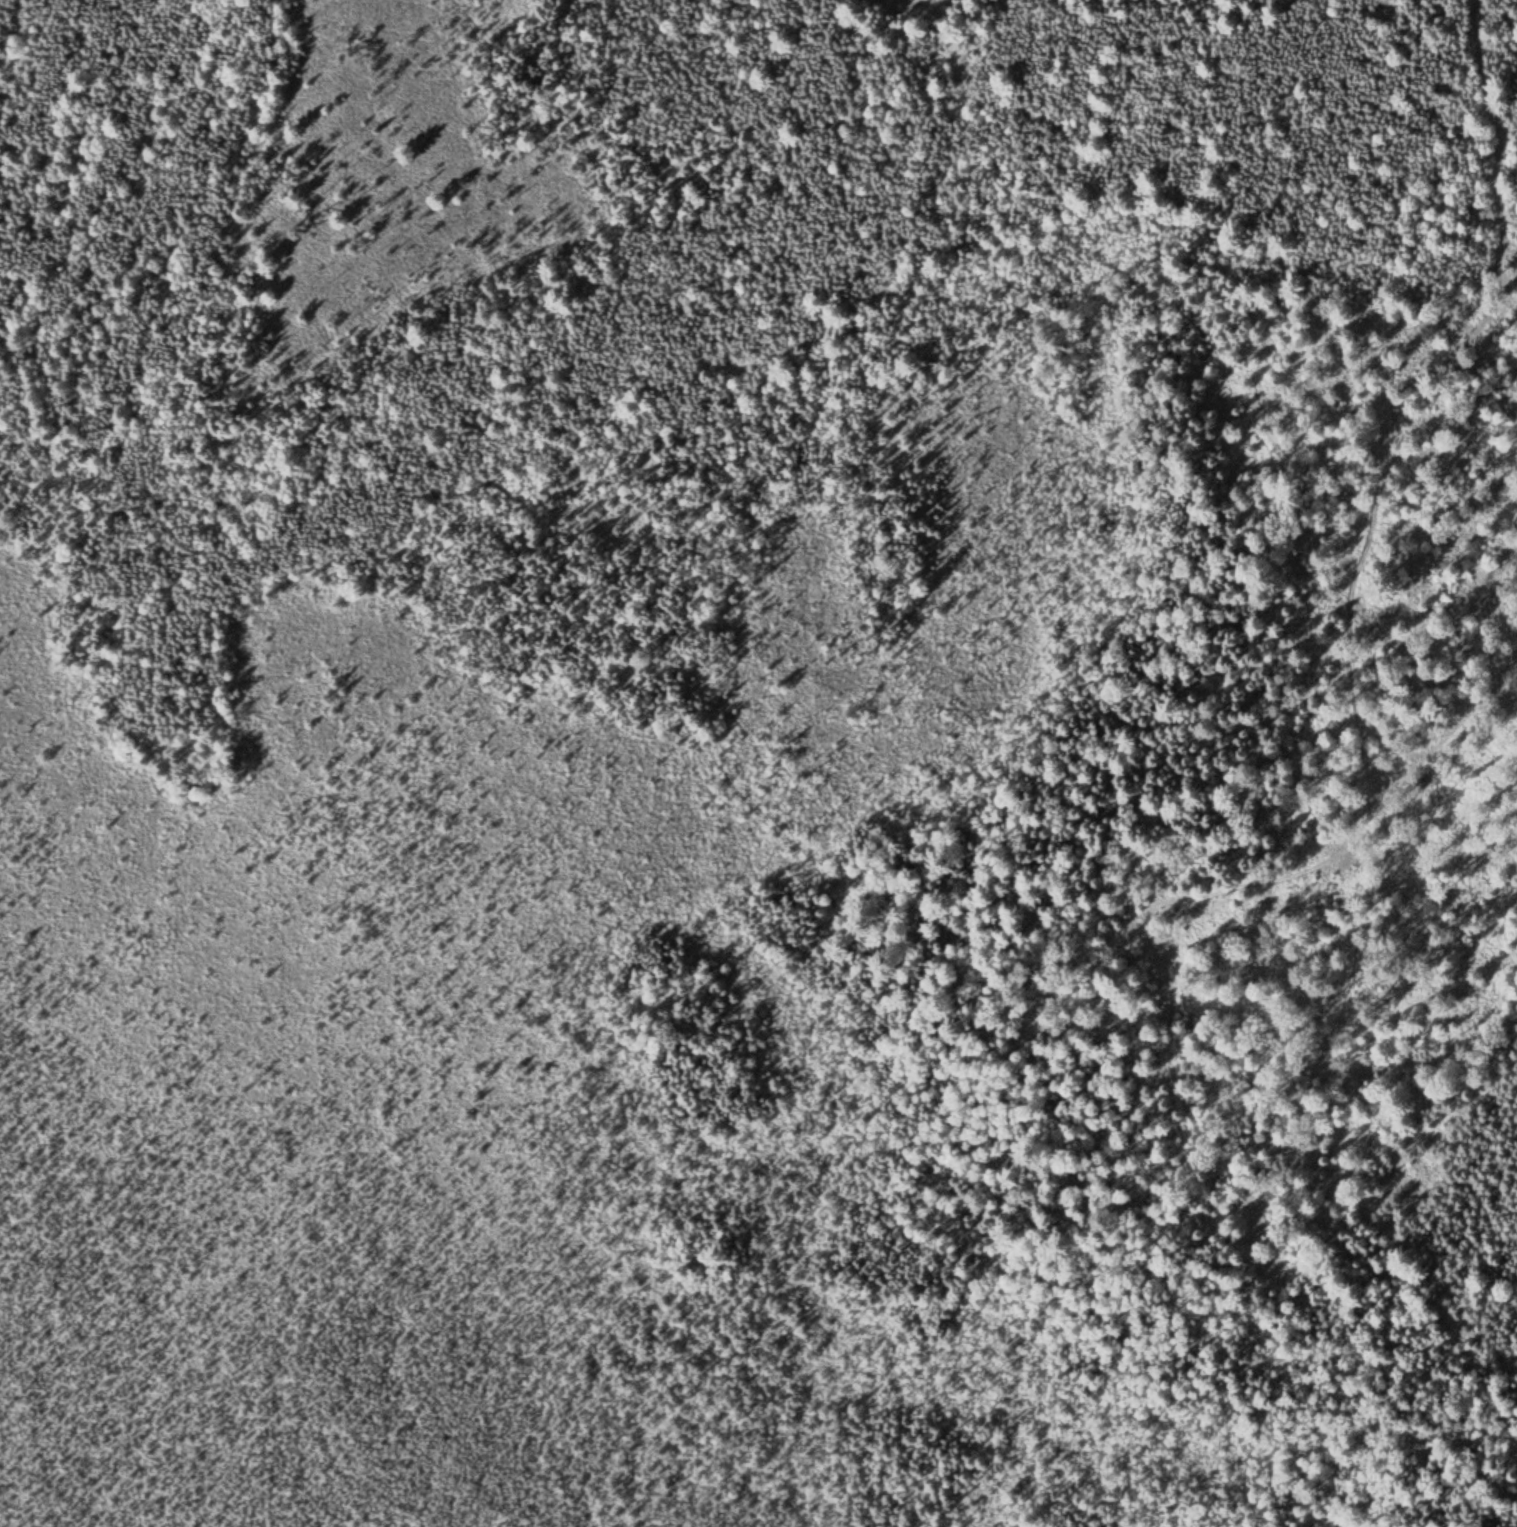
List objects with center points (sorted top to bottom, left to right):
road: (1489, 159)

